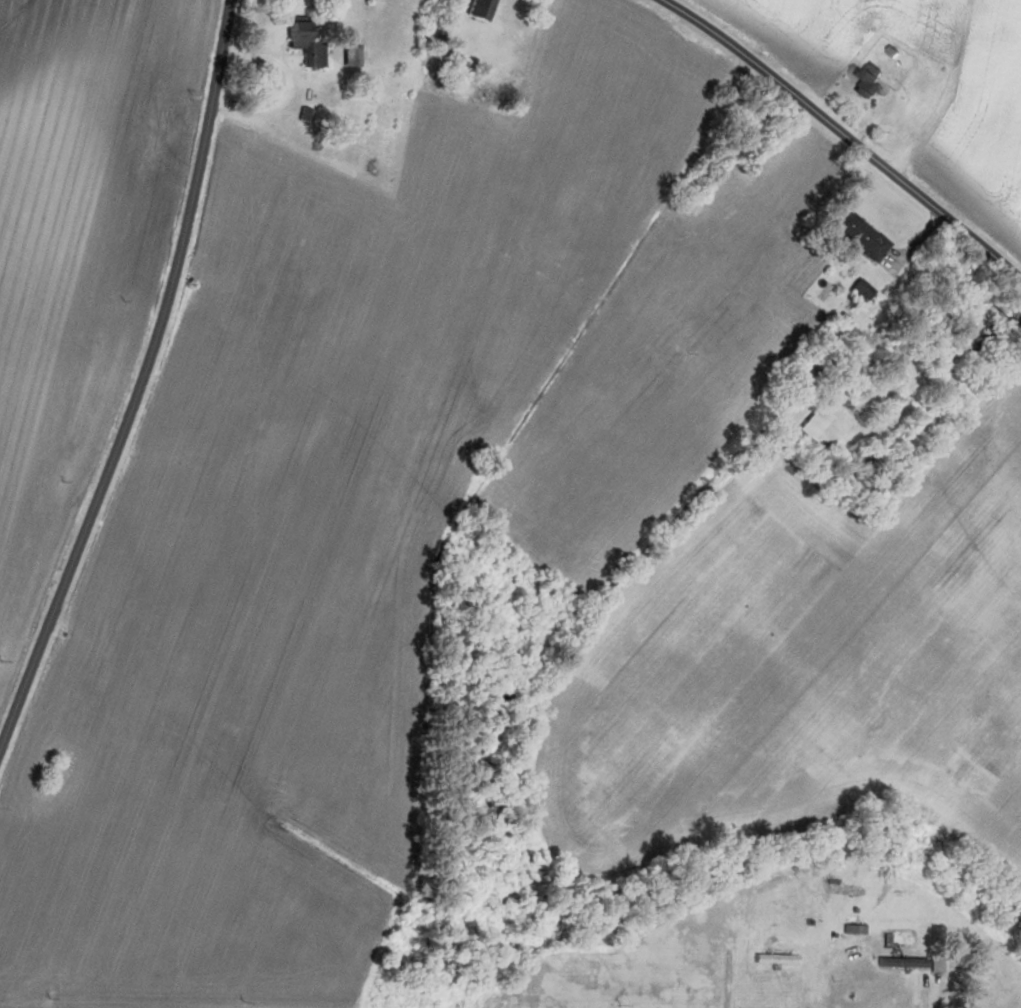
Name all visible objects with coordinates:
building: (477, 10)
building: (301, 45)
building: (867, 81)
road: (842, 136)
building: (857, 234)
building: (860, 289)
road: (141, 383)
building: (828, 417)
building: (791, 895)
building: (927, 927)
building: (852, 930)
building: (773, 959)
building: (900, 962)

